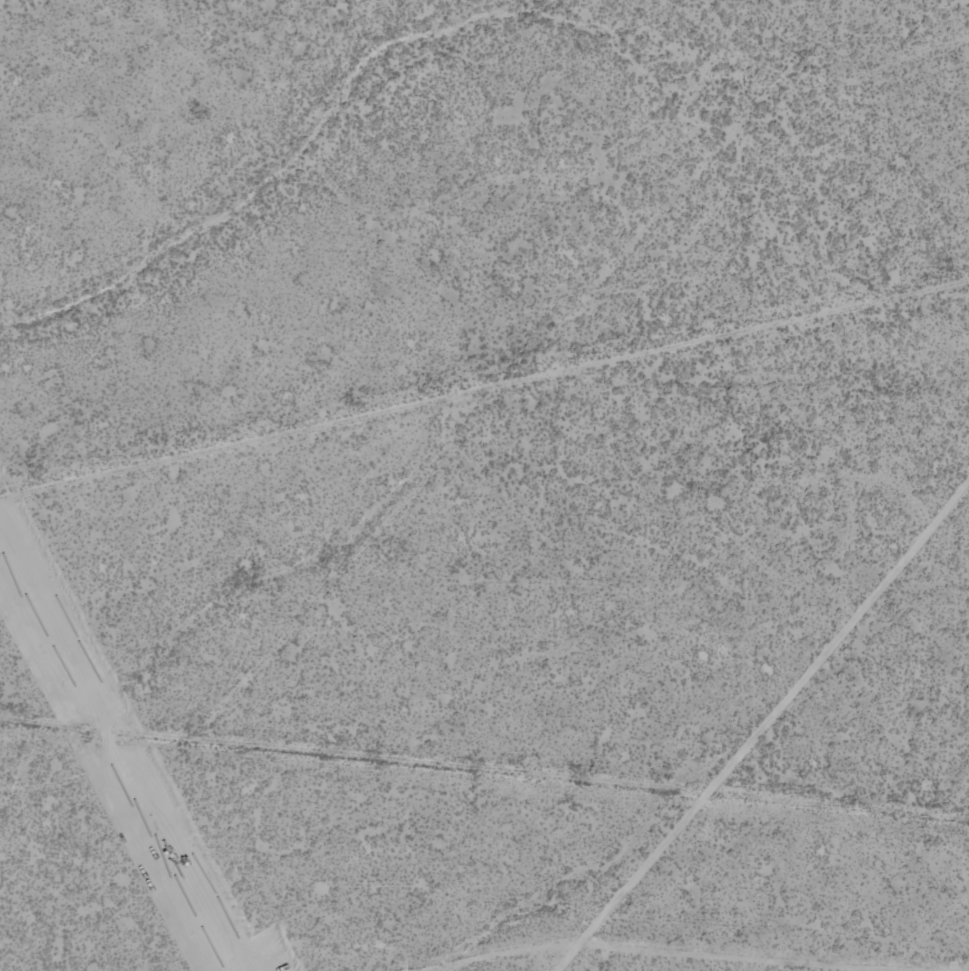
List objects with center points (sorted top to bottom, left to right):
road: (427, 412)
road: (484, 878)

